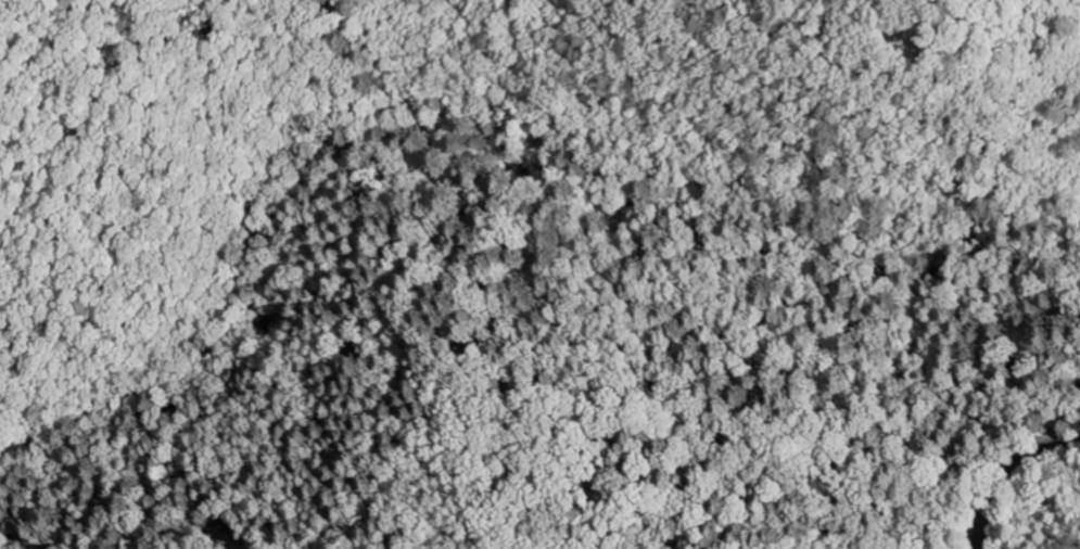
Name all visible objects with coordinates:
road: (1011, 476)

